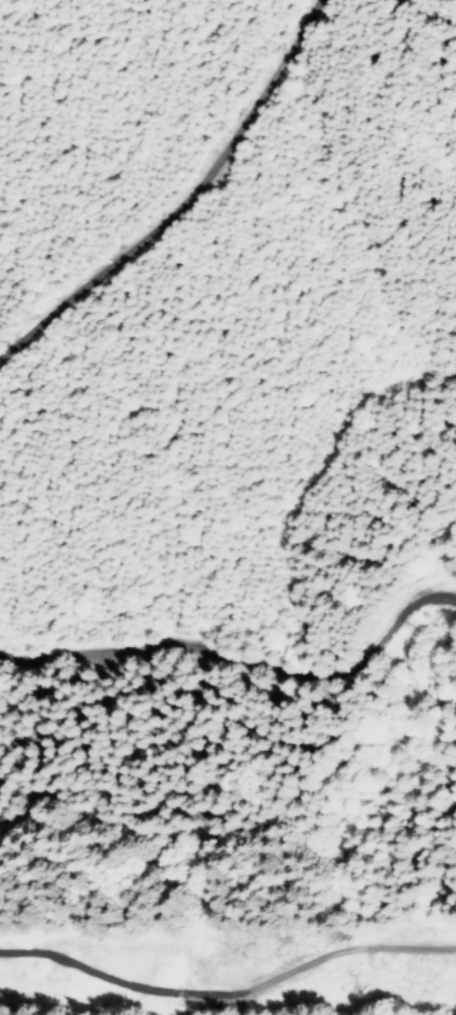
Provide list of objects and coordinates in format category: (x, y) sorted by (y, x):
road: (191, 203)
road: (228, 644)

